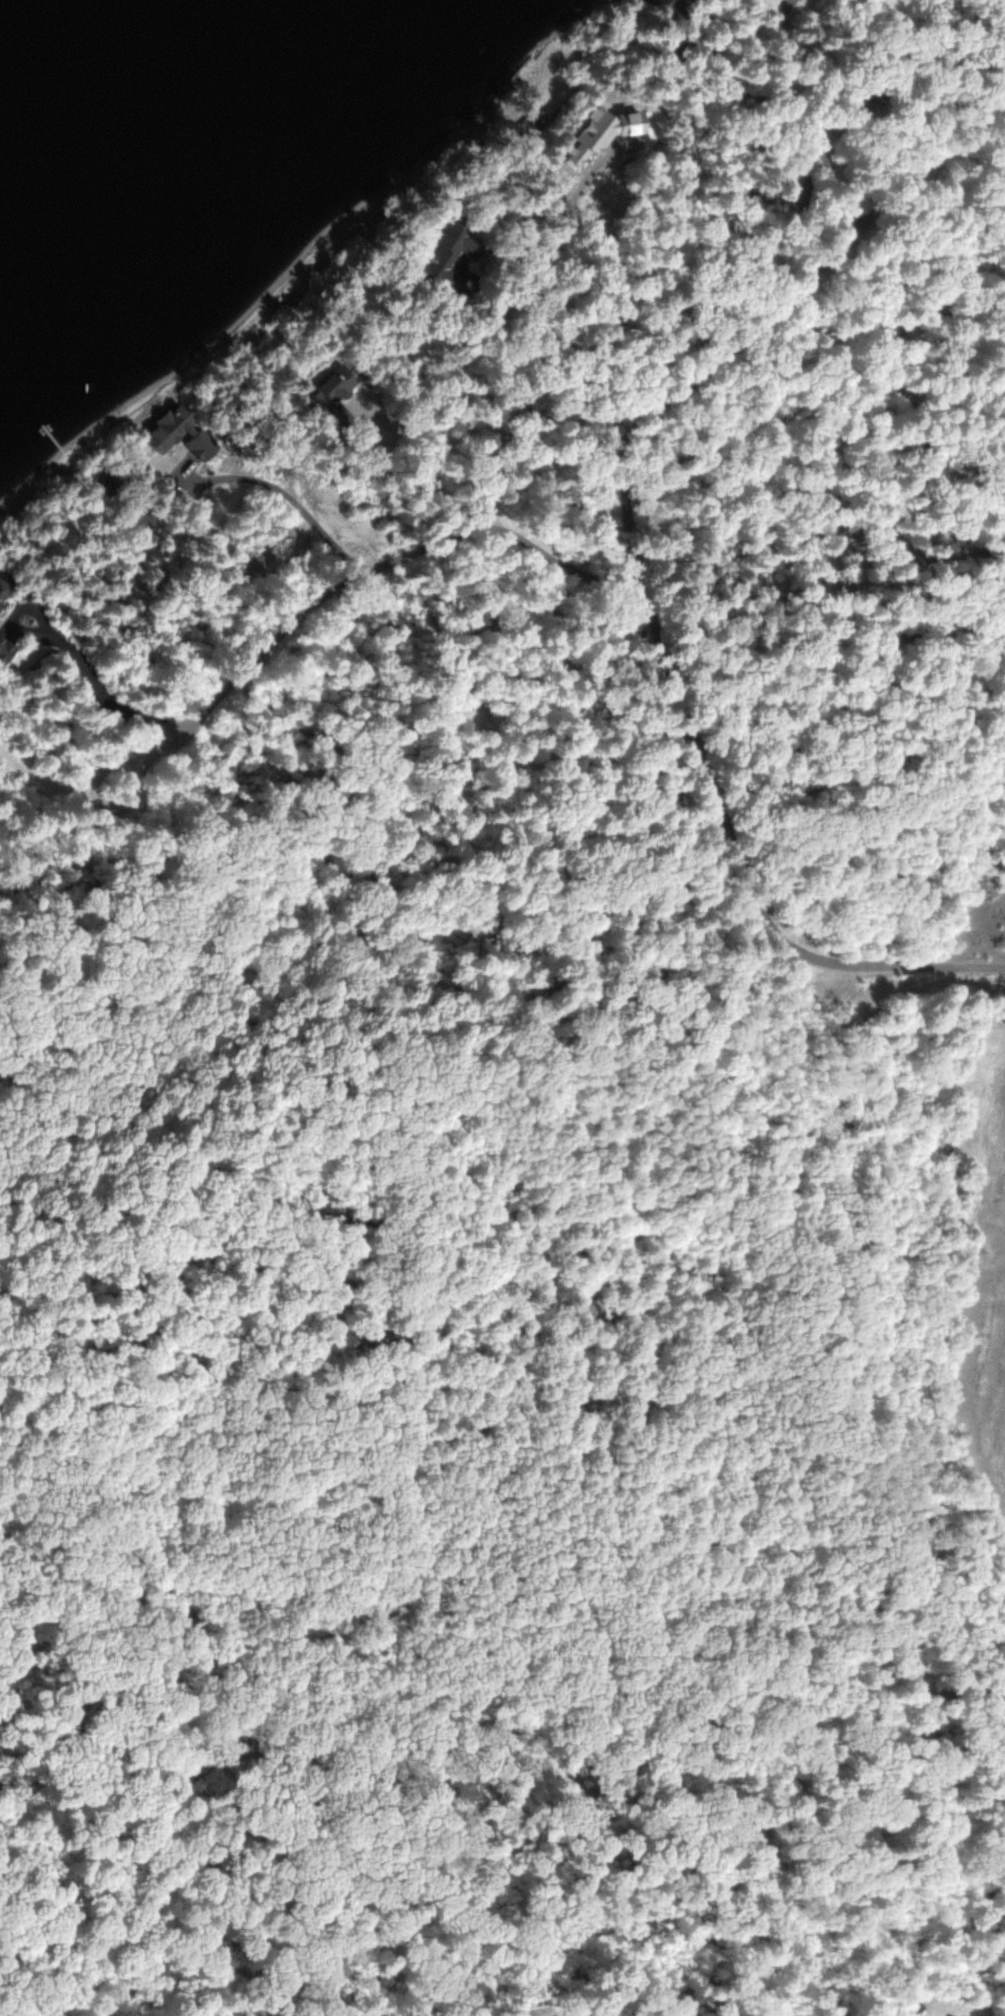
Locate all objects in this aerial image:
building: (555, 87)
building: (444, 246)
building: (334, 395)
building: (177, 431)
building: (107, 477)
road: (631, 559)
building: (4, 590)
road: (290, 618)
building: (6, 648)
road: (320, 780)

